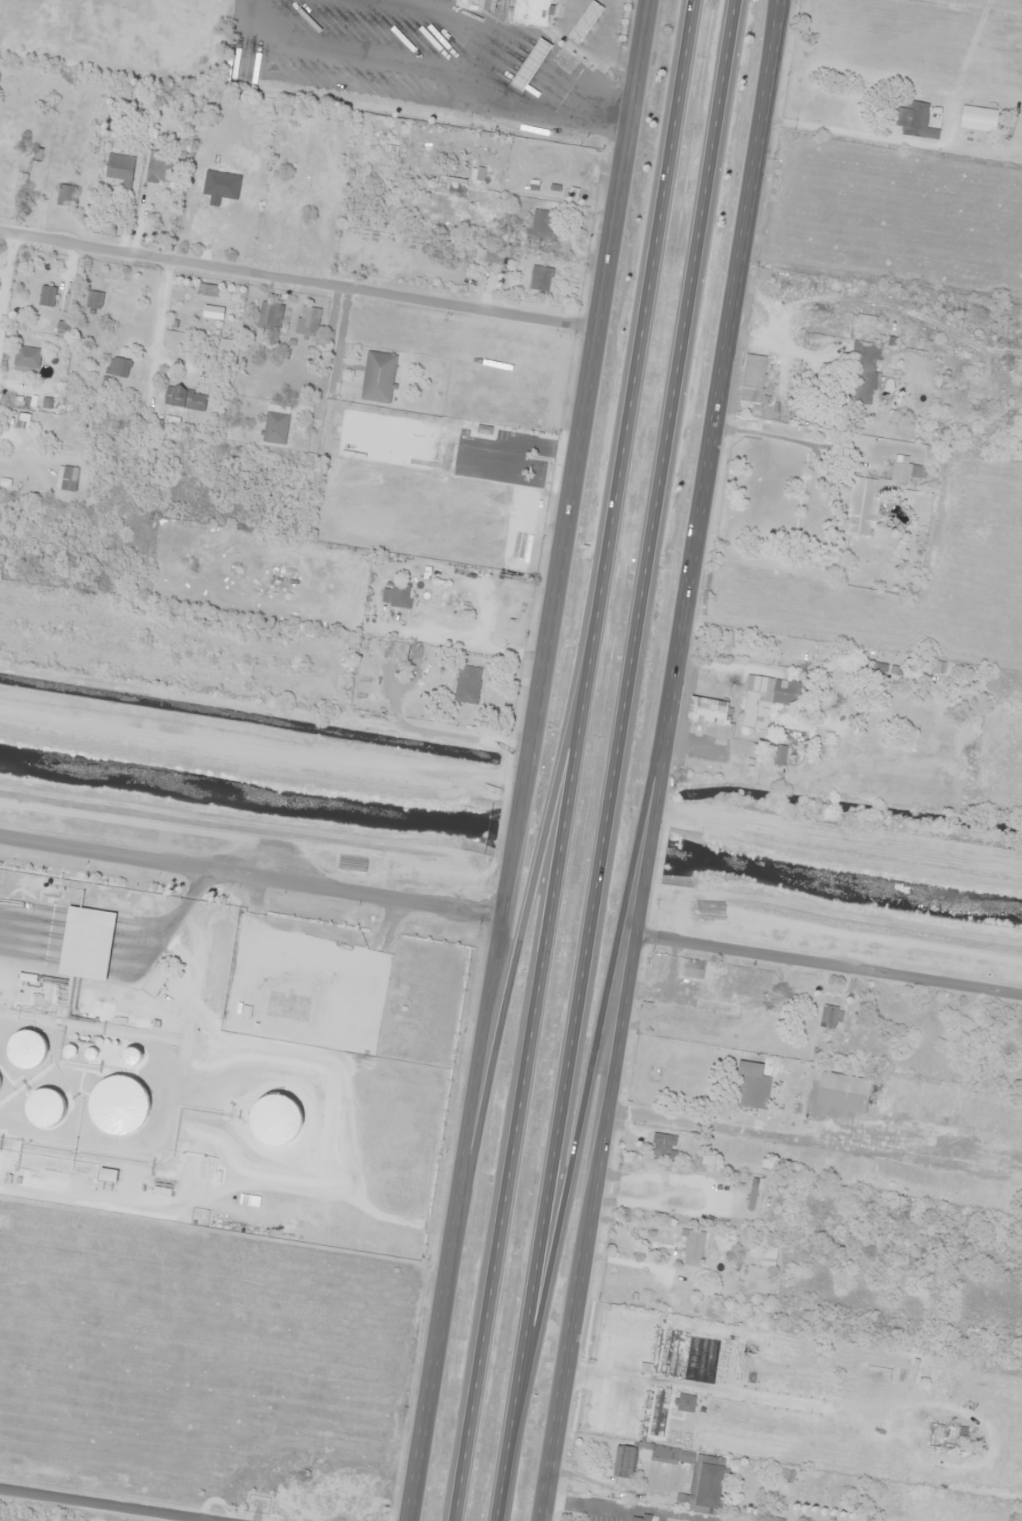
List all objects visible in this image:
building: (530, 11)
building: (584, 20)
building: (530, 64)
building: (911, 117)
building: (978, 119)
building: (119, 167)
building: (162, 167)
building: (65, 196)
building: (288, 209)
building: (541, 225)
building: (485, 250)
road: (6, 277)
road: (298, 278)
building: (540, 279)
building: (207, 290)
building: (47, 296)
building: (94, 300)
building: (269, 317)
building: (307, 321)
building: (26, 357)
building: (118, 367)
building: (863, 371)
building: (378, 377)
building: (752, 379)
building: (186, 398)
building: (22, 421)
building: (274, 425)
building: (901, 472)
building: (68, 479)
building: (861, 506)
building: (396, 595)
building: (396, 651)
building: (877, 667)
building: (467, 685)
building: (766, 699)
building: (707, 710)
building: (777, 755)
road: (531, 760)
road: (574, 760)
road: (615, 760)
road: (665, 761)
road: (252, 876)
road: (529, 895)
building: (81, 942)
road: (119, 942)
road: (831, 967)
building: (693, 969)
building: (155, 980)
building: (828, 1017)
building: (30, 1052)
storage tank: (30, 1052)
road: (596, 1052)
building: (0, 1080)
building: (753, 1086)
building: (838, 1096)
building: (37, 1104)
storage tank: (37, 1104)
building: (120, 1105)
storage tank: (120, 1105)
building: (270, 1123)
storage tank: (270, 1123)
building: (663, 1147)
building: (107, 1176)
building: (693, 1249)
building: (767, 1256)
building: (944, 1434)
building: (624, 1461)
building: (787, 1474)
building: (696, 1475)
road: (149, 1501)
building: (640, 1517)
building: (909, 1520)

